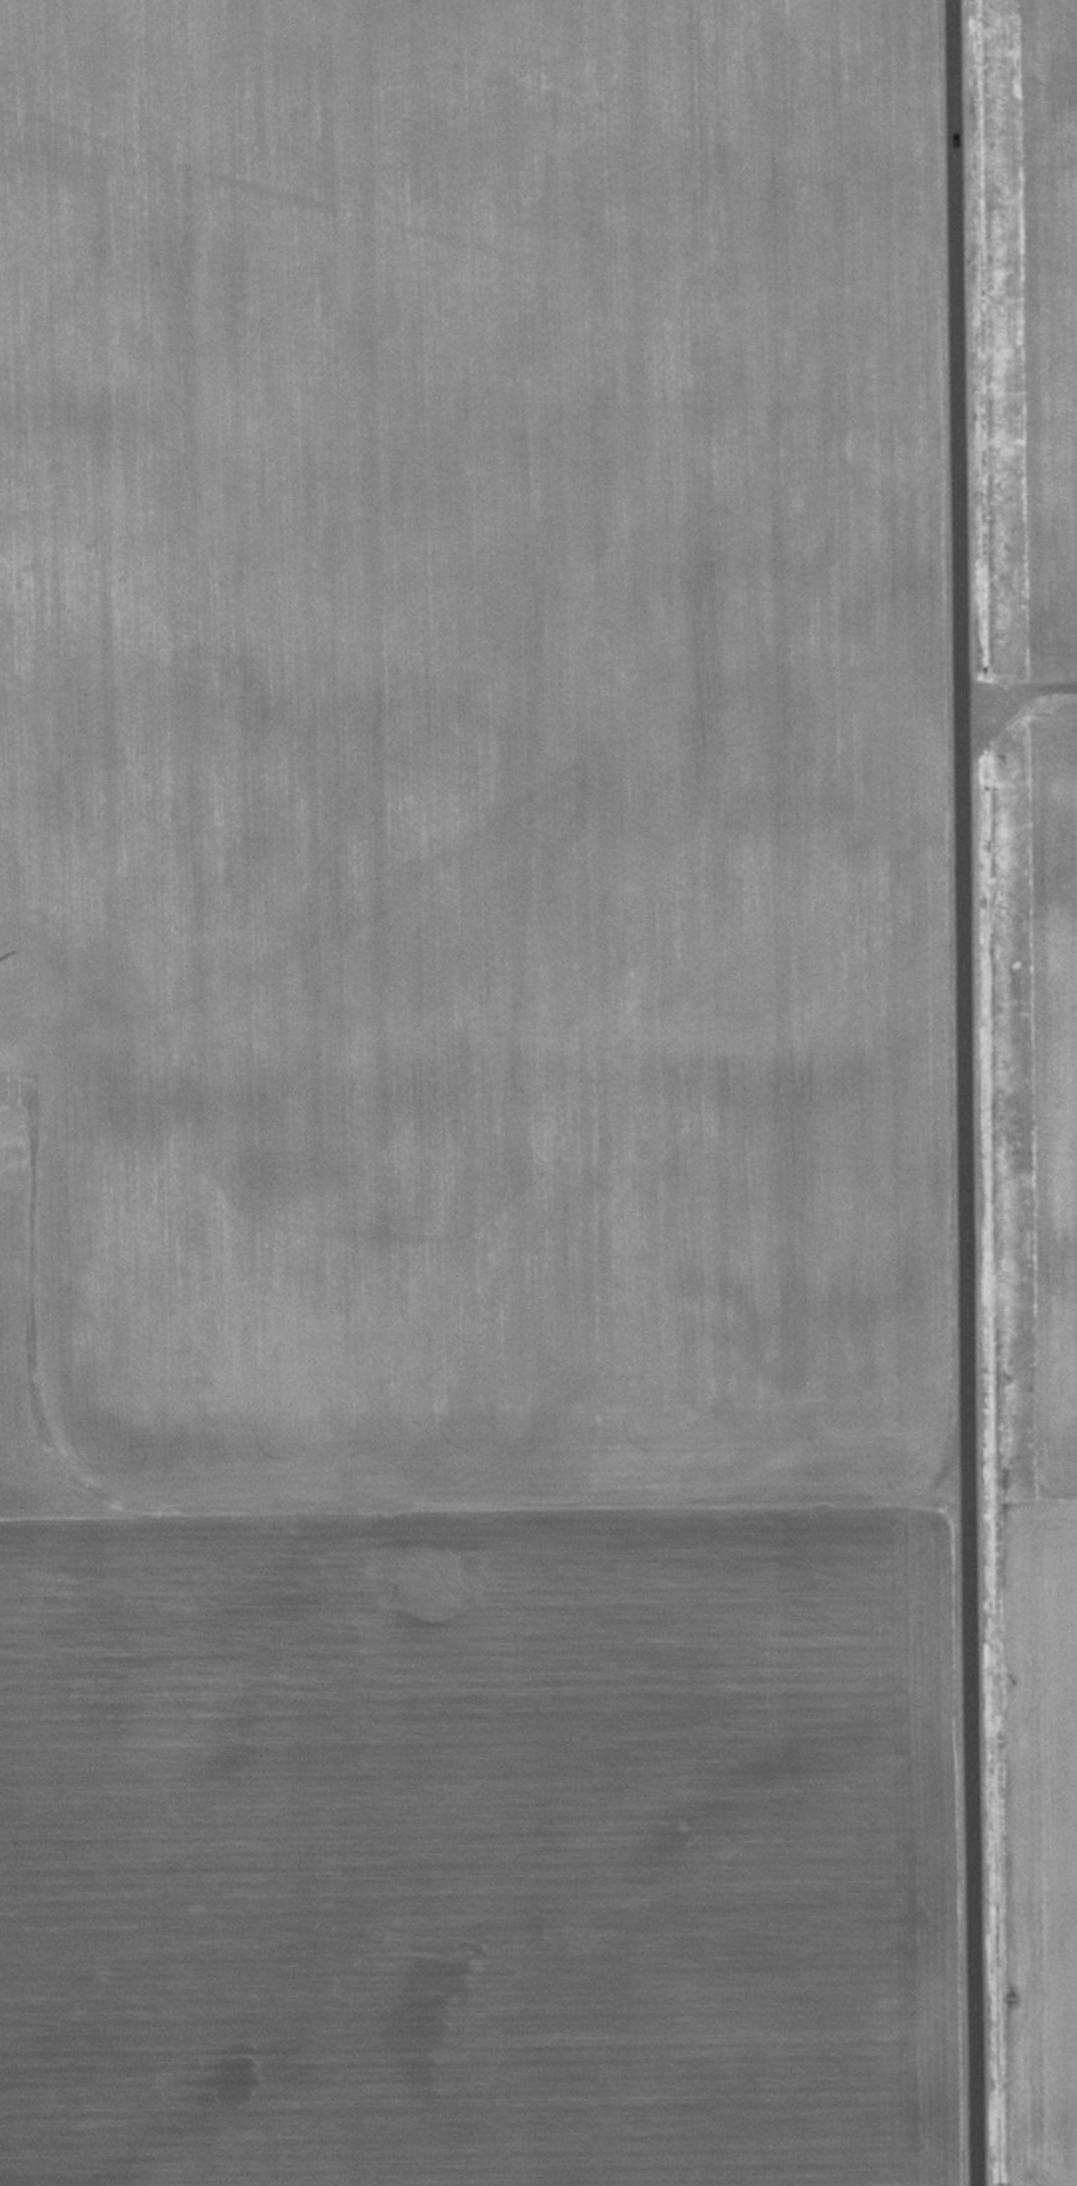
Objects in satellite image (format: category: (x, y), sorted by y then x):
road: (1023, 688)
road: (971, 1092)
road: (326, 1508)

